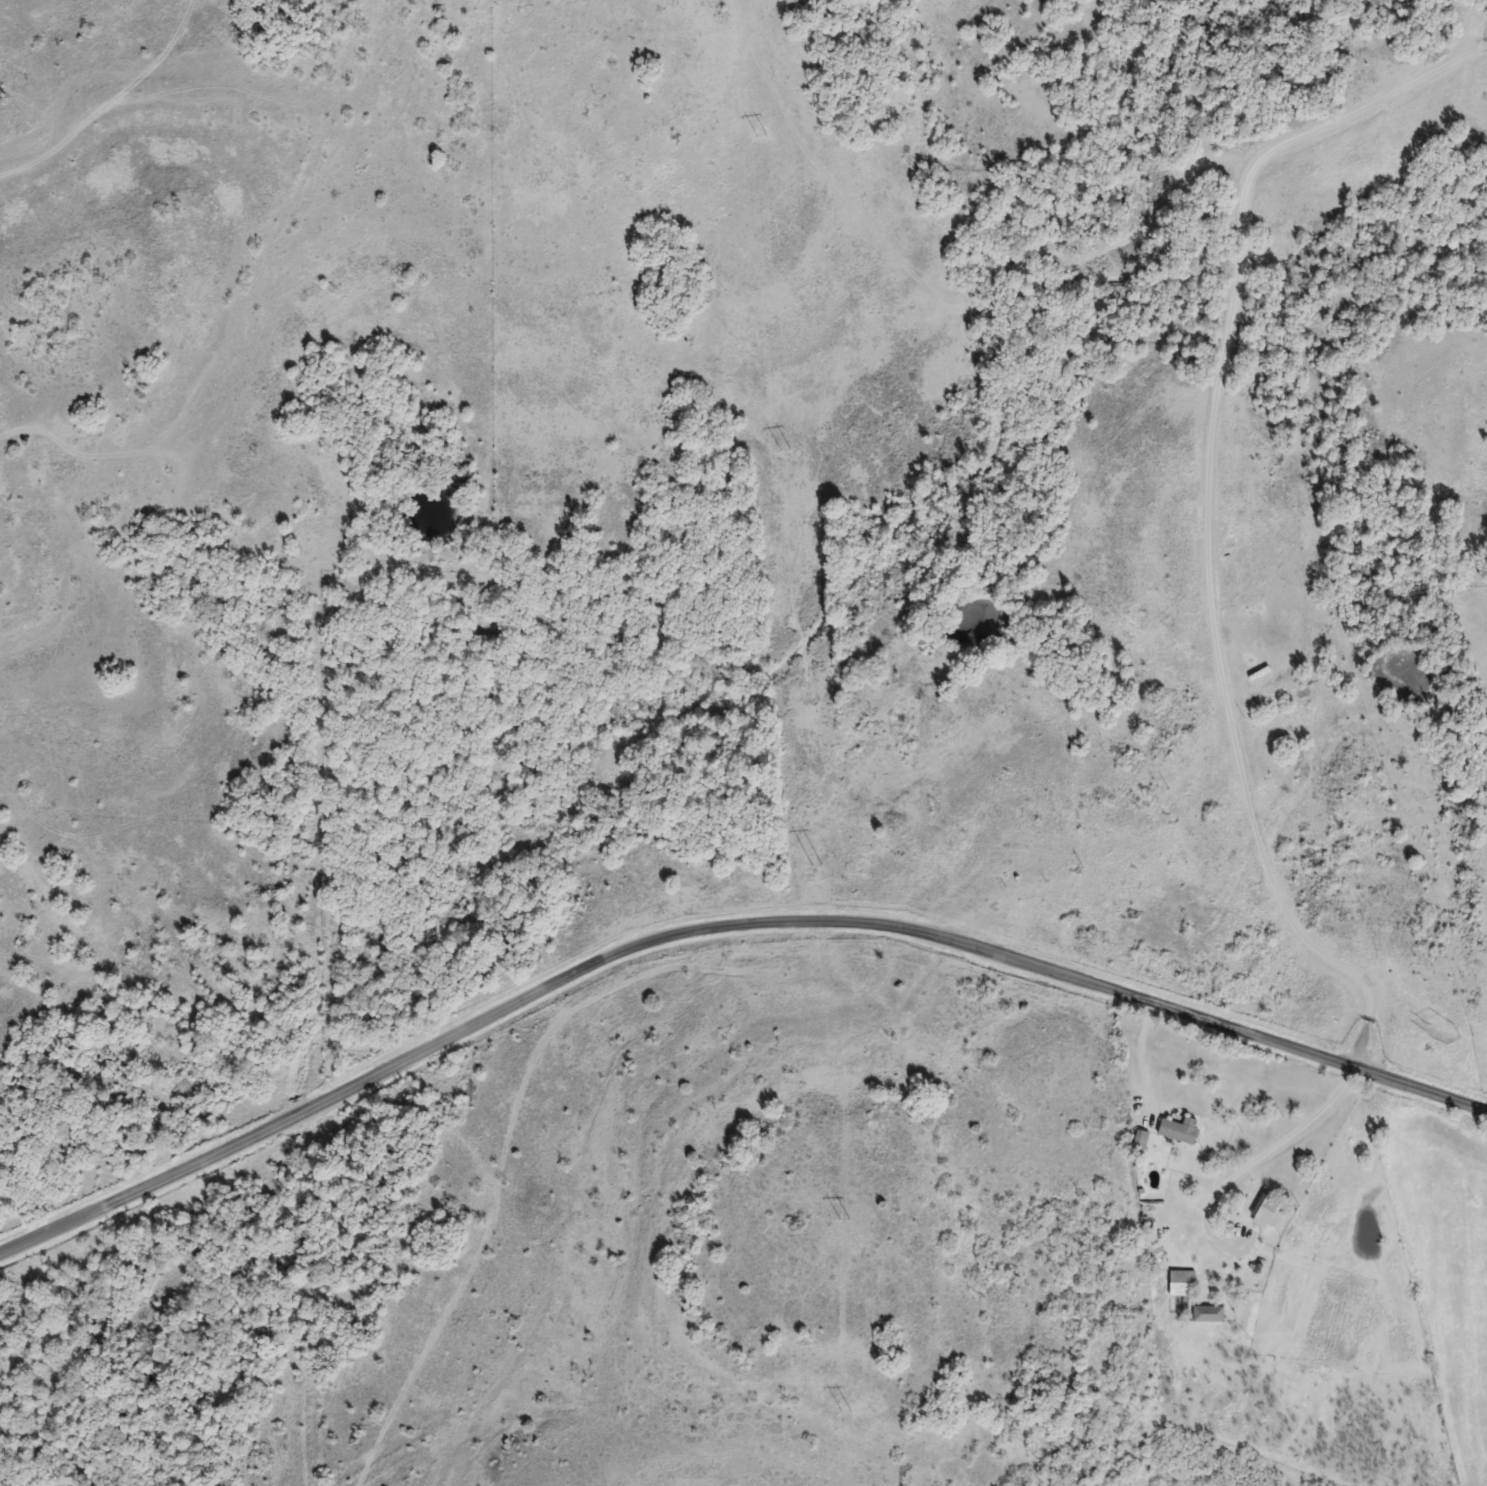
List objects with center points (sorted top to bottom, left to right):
road: (62, 135)
power tower: (766, 159)
power tower: (790, 472)
road: (1205, 511)
power tower: (812, 860)
road: (721, 928)
road: (1143, 1067)
building: (1179, 1131)
road: (1260, 1159)
building: (1268, 1213)
power tower: (848, 1241)
building: (1181, 1283)
building: (1208, 1314)
power tower: (850, 1433)

